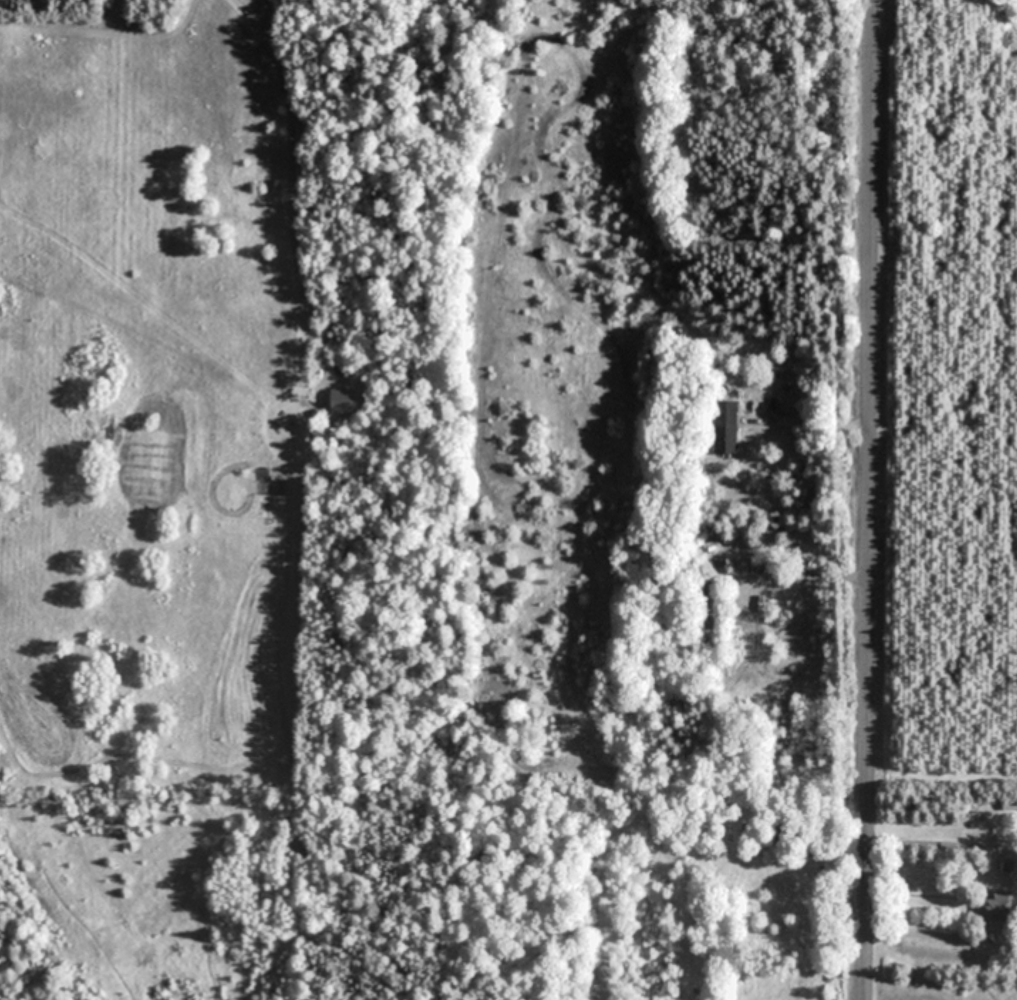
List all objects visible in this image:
road: (825, 421)
building: (725, 427)
road: (866, 499)
road: (815, 574)
building: (708, 605)
building: (997, 907)

